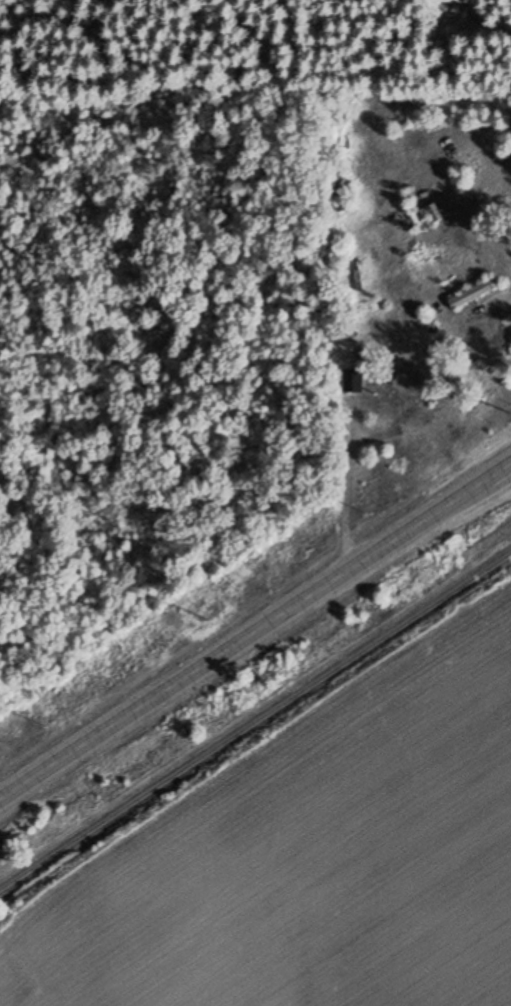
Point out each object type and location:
building: (476, 293)
building: (353, 382)
road: (255, 633)
railway: (255, 723)

